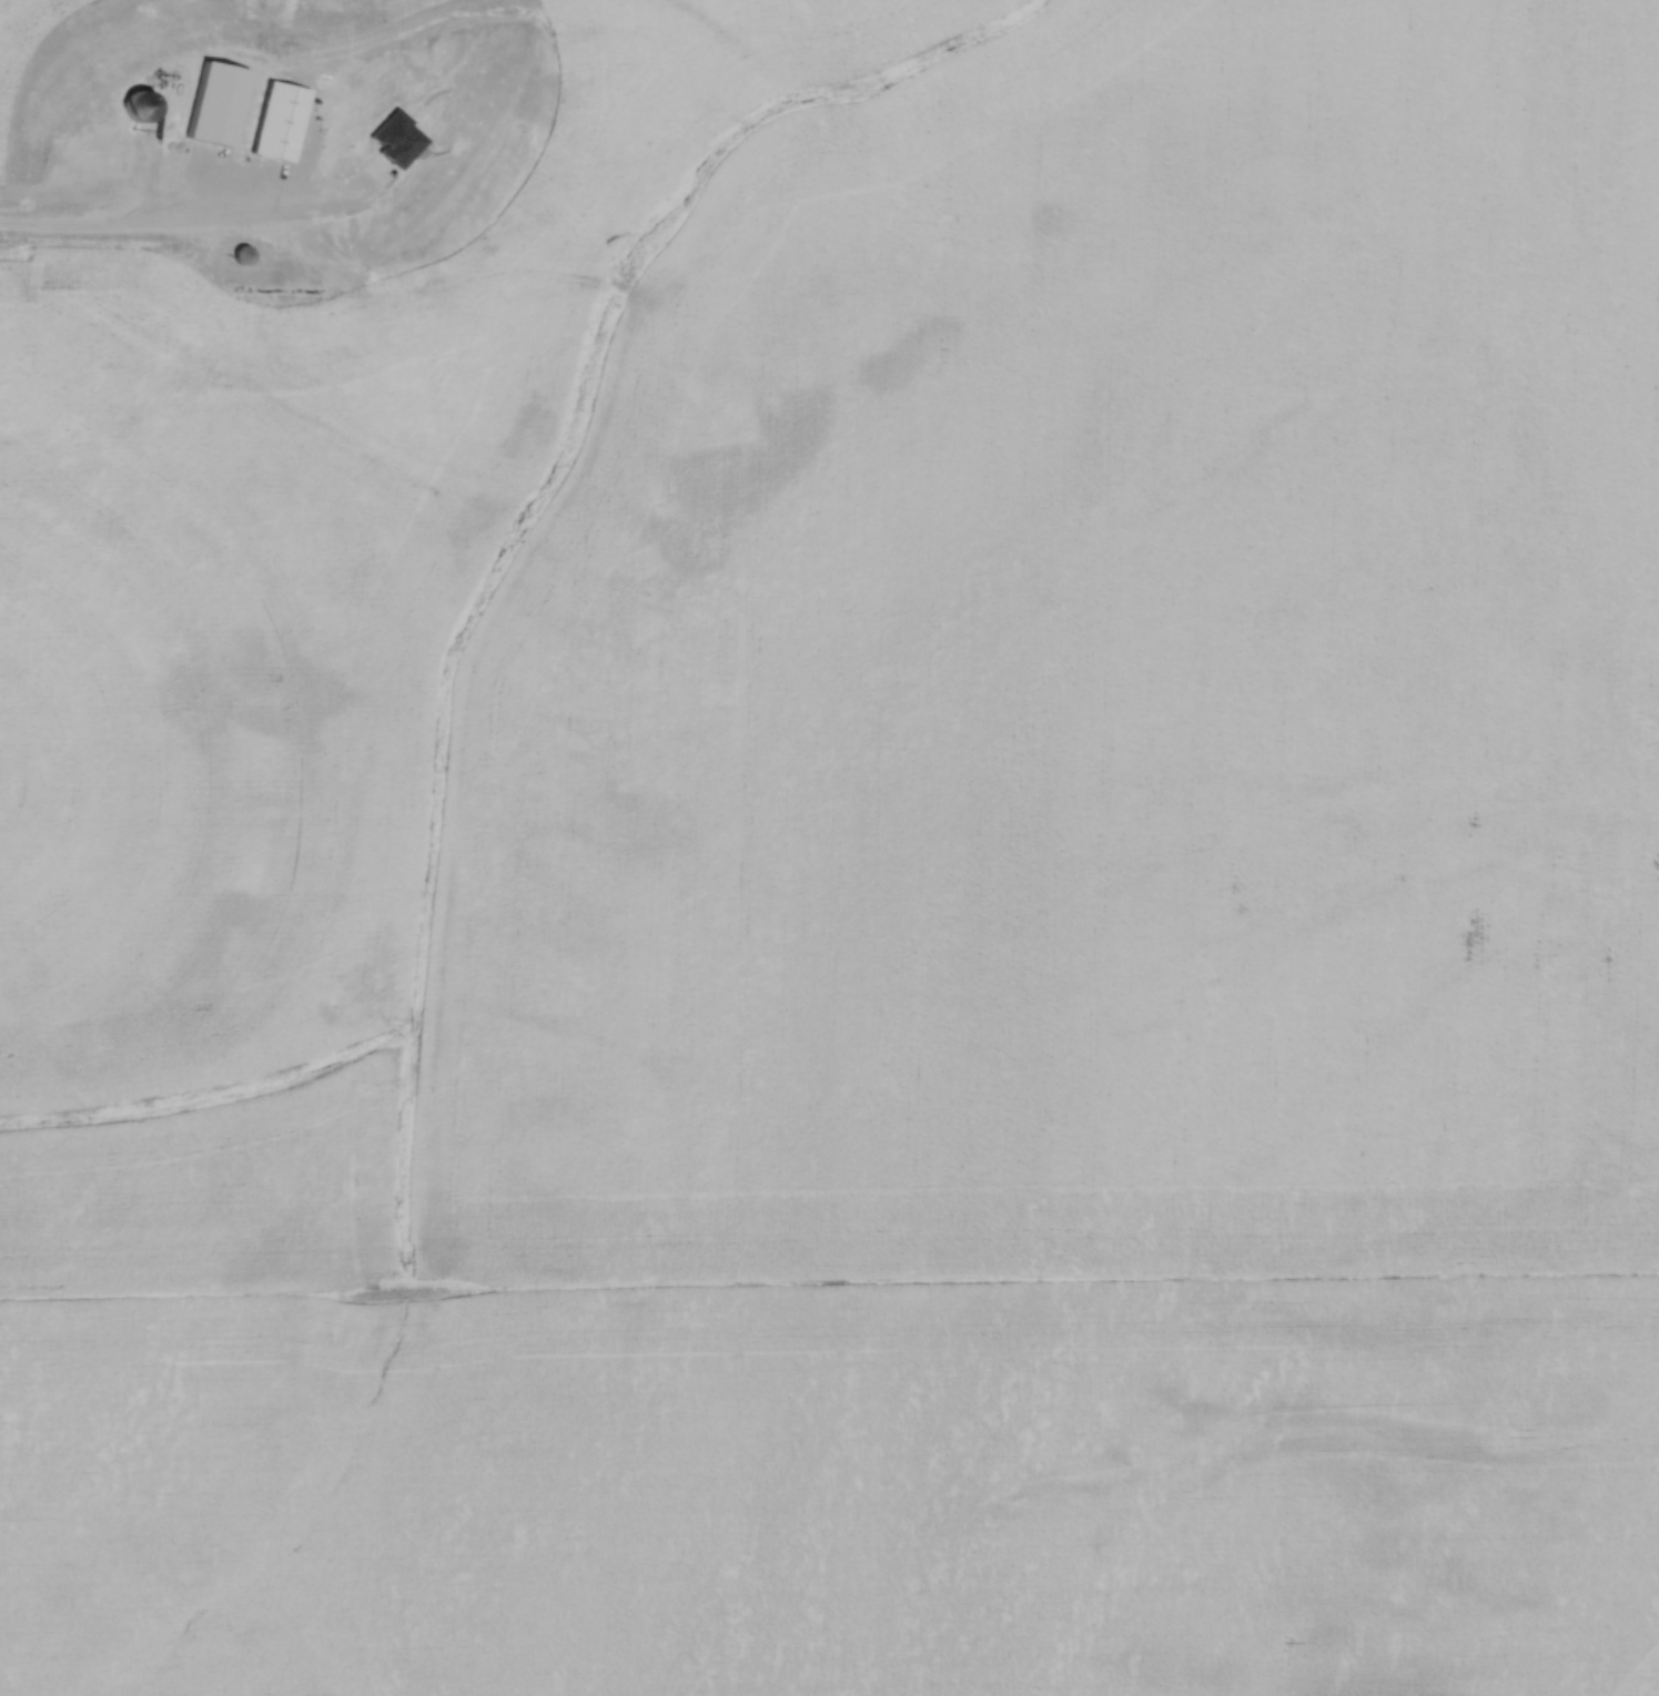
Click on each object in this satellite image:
building: (280, 120)
building: (356, 169)
road: (133, 236)
building: (242, 254)

